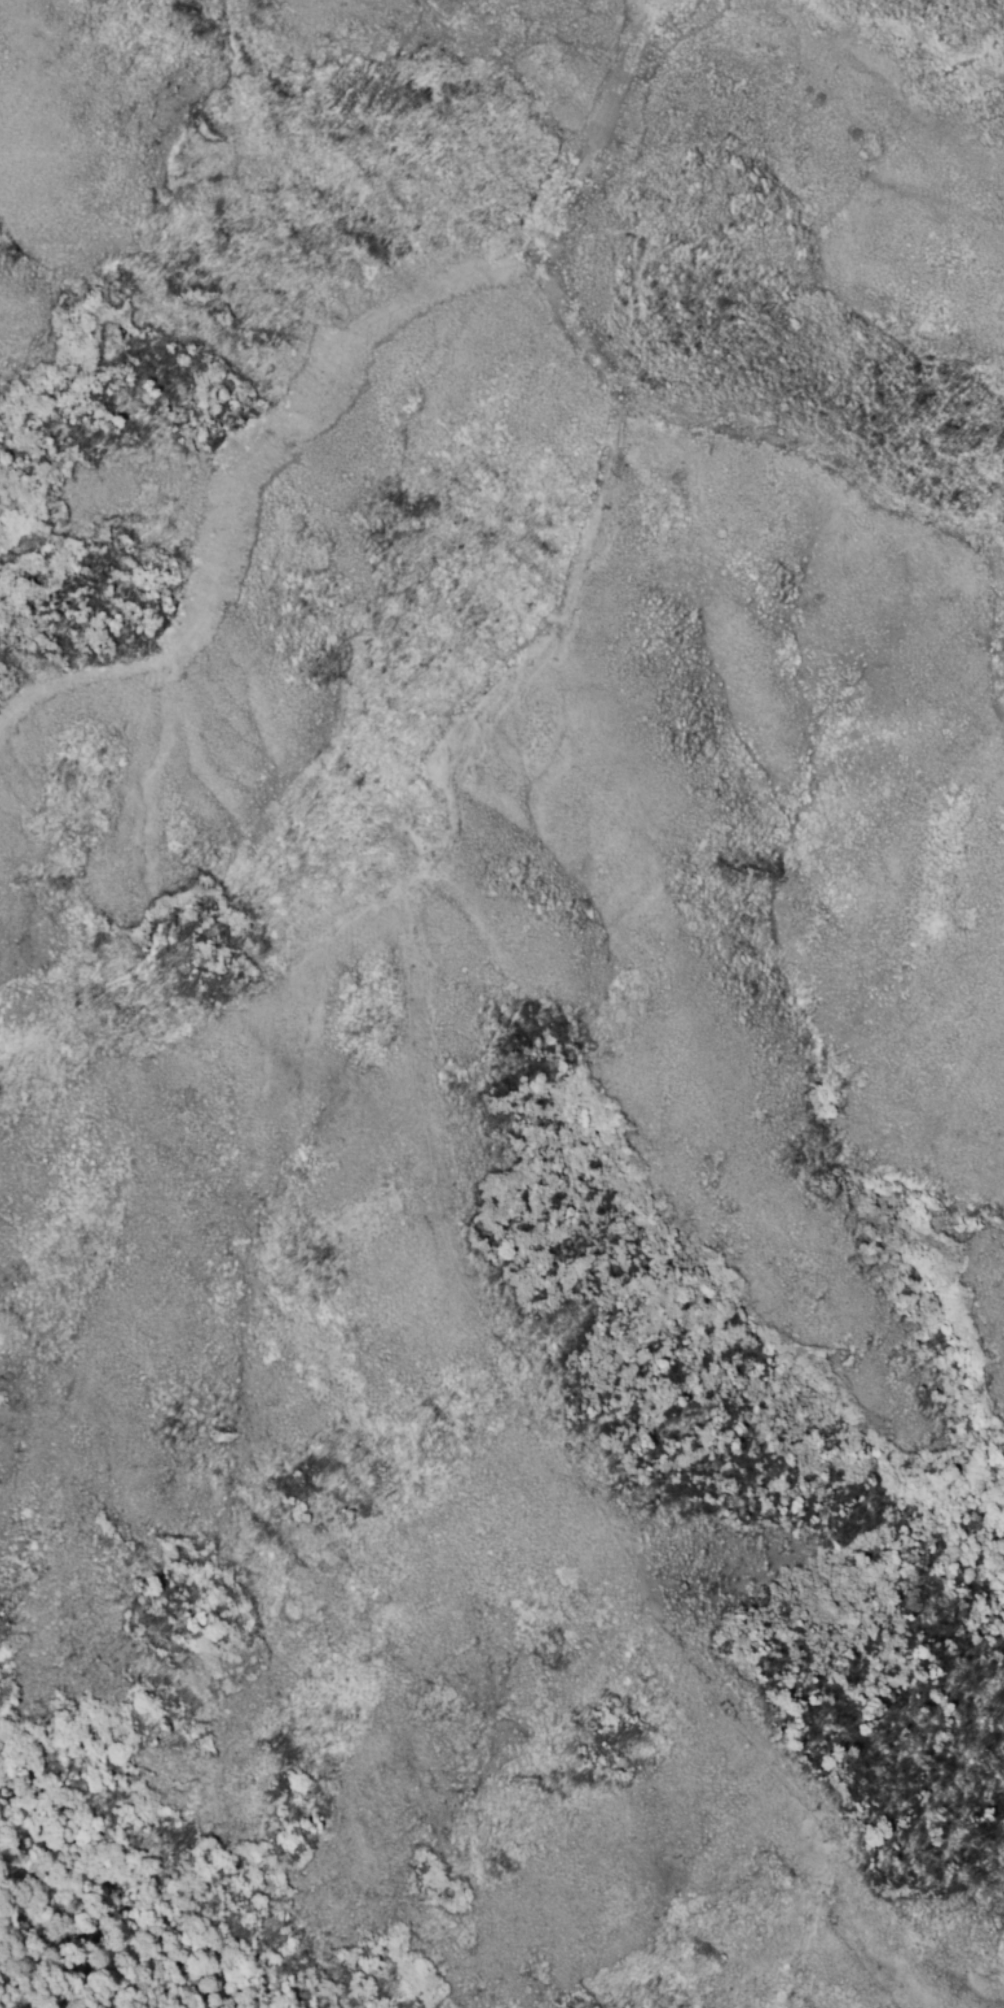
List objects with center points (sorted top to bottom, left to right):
road: (657, 7)

